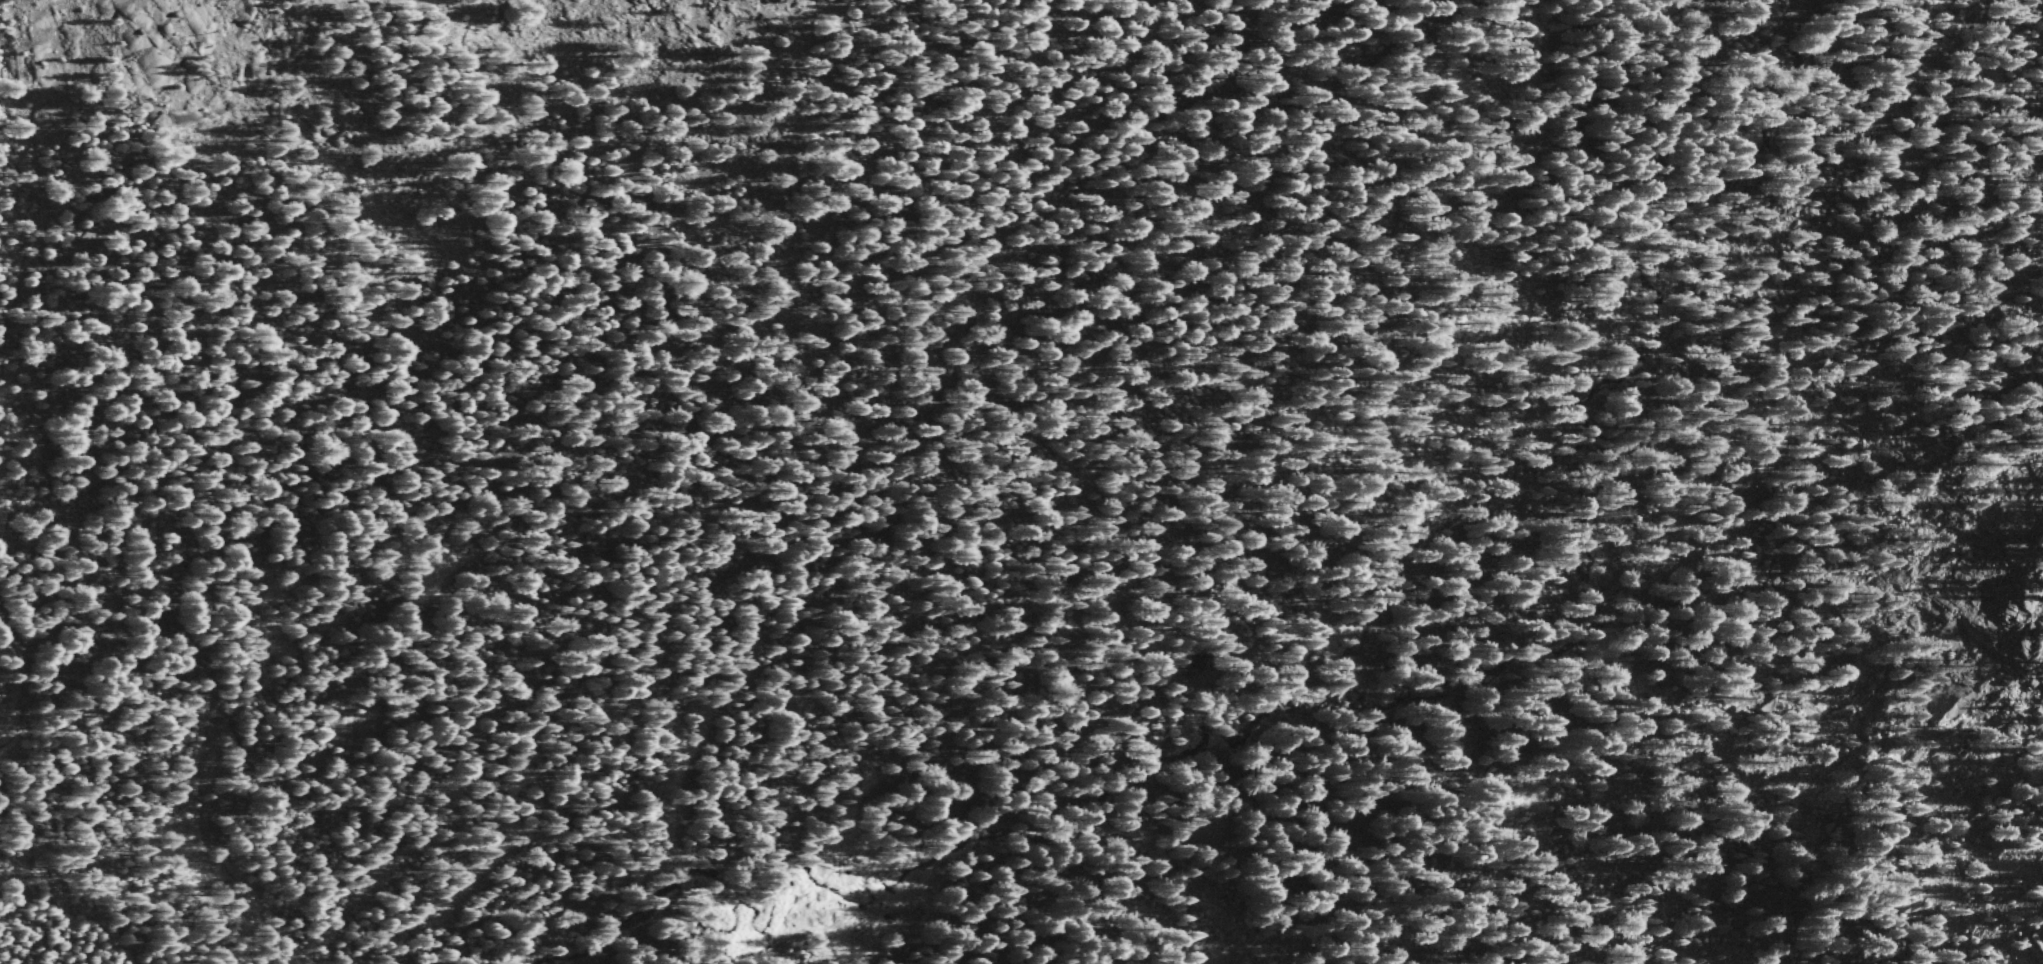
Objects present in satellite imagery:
road: (1615, 635)

